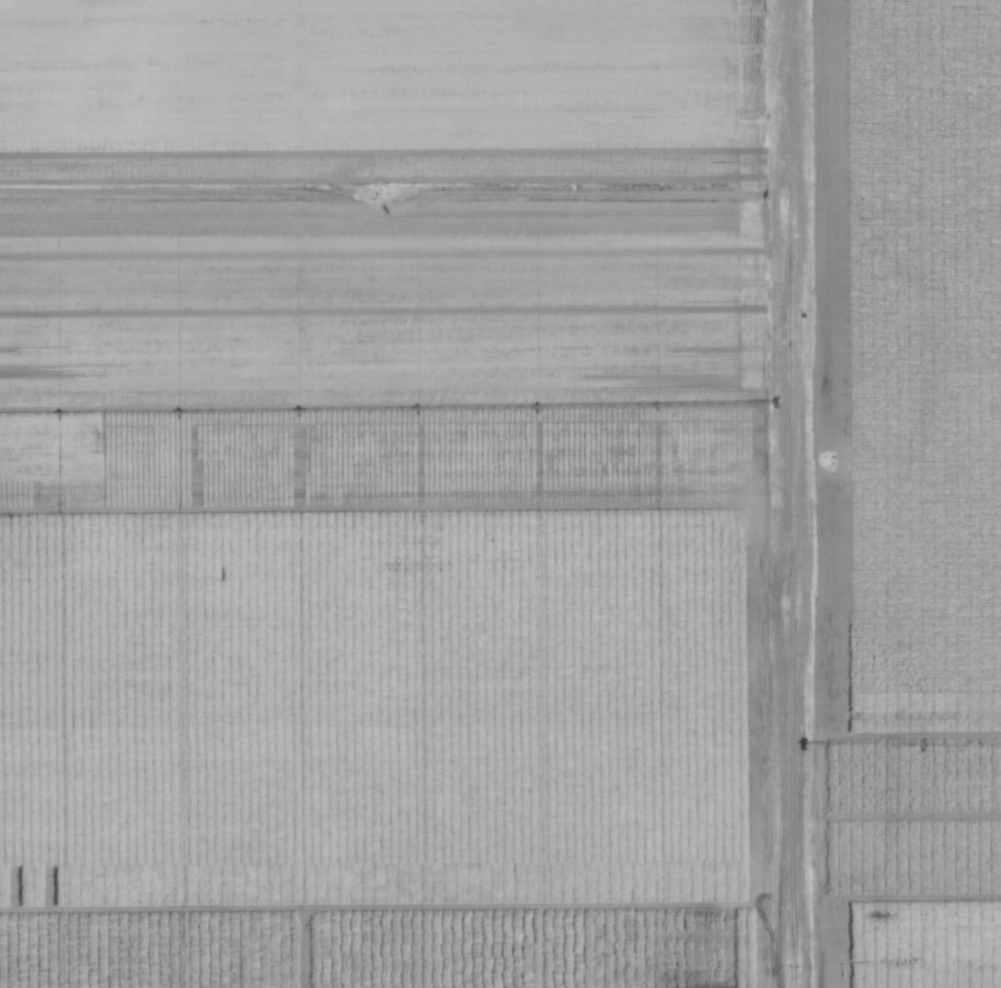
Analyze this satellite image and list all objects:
building: (157, 1)
building: (185, 15)
building: (407, 34)
building: (484, 44)

